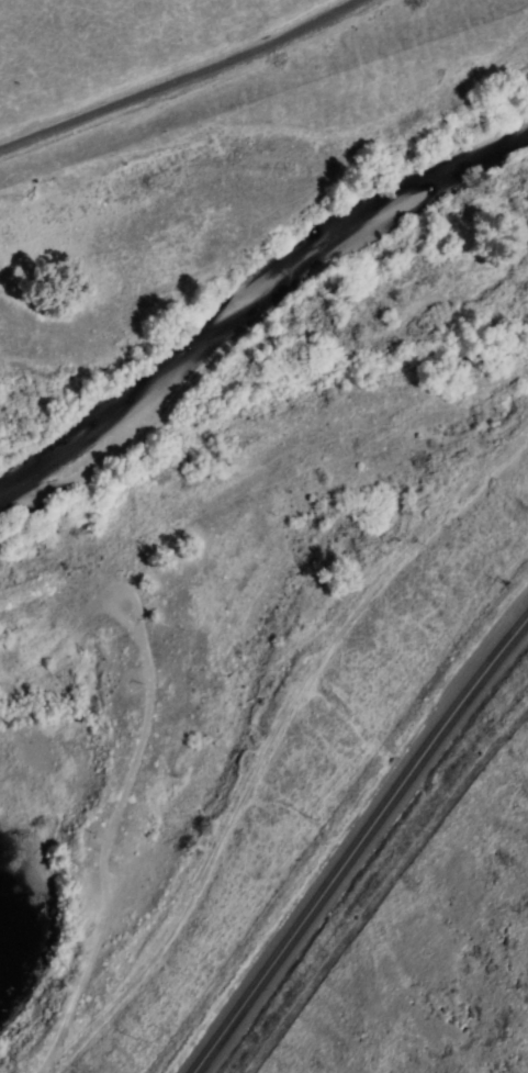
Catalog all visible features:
road: (177, 76)
river: (256, 302)
road: (355, 842)
road: (44, 1059)

